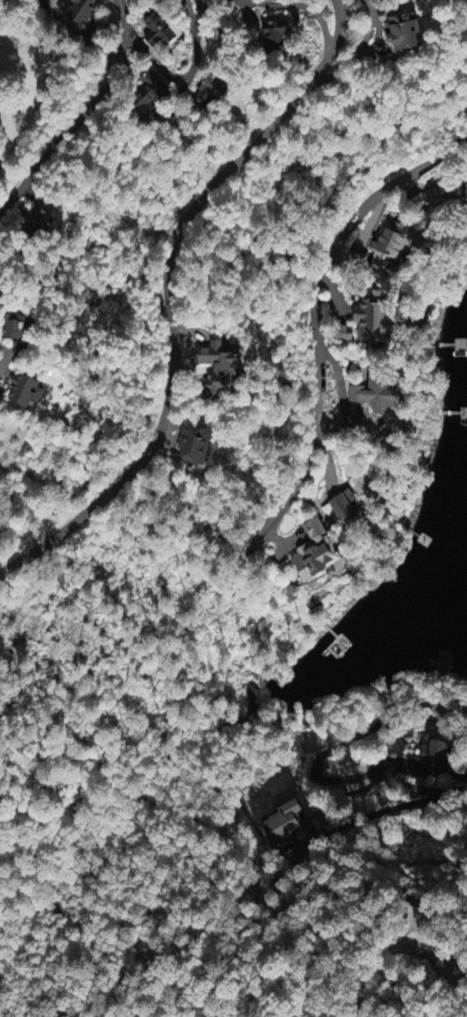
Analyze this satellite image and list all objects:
road: (294, 7)
building: (84, 11)
building: (163, 32)
road: (77, 34)
building: (277, 36)
building: (406, 36)
road: (353, 58)
road: (189, 76)
building: (210, 95)
building: (151, 97)
road: (84, 115)
building: (434, 199)
building: (38, 225)
building: (392, 247)
building: (0, 276)
road: (167, 295)
building: (374, 325)
building: (15, 329)
building: (344, 336)
road: (4, 359)
building: (221, 369)
road: (316, 392)
building: (375, 394)
building: (28, 395)
building: (195, 447)
building: (344, 508)
building: (318, 556)
road: (73, 719)
building: (436, 753)
building: (285, 827)
road: (464, 871)
building: (451, 964)

